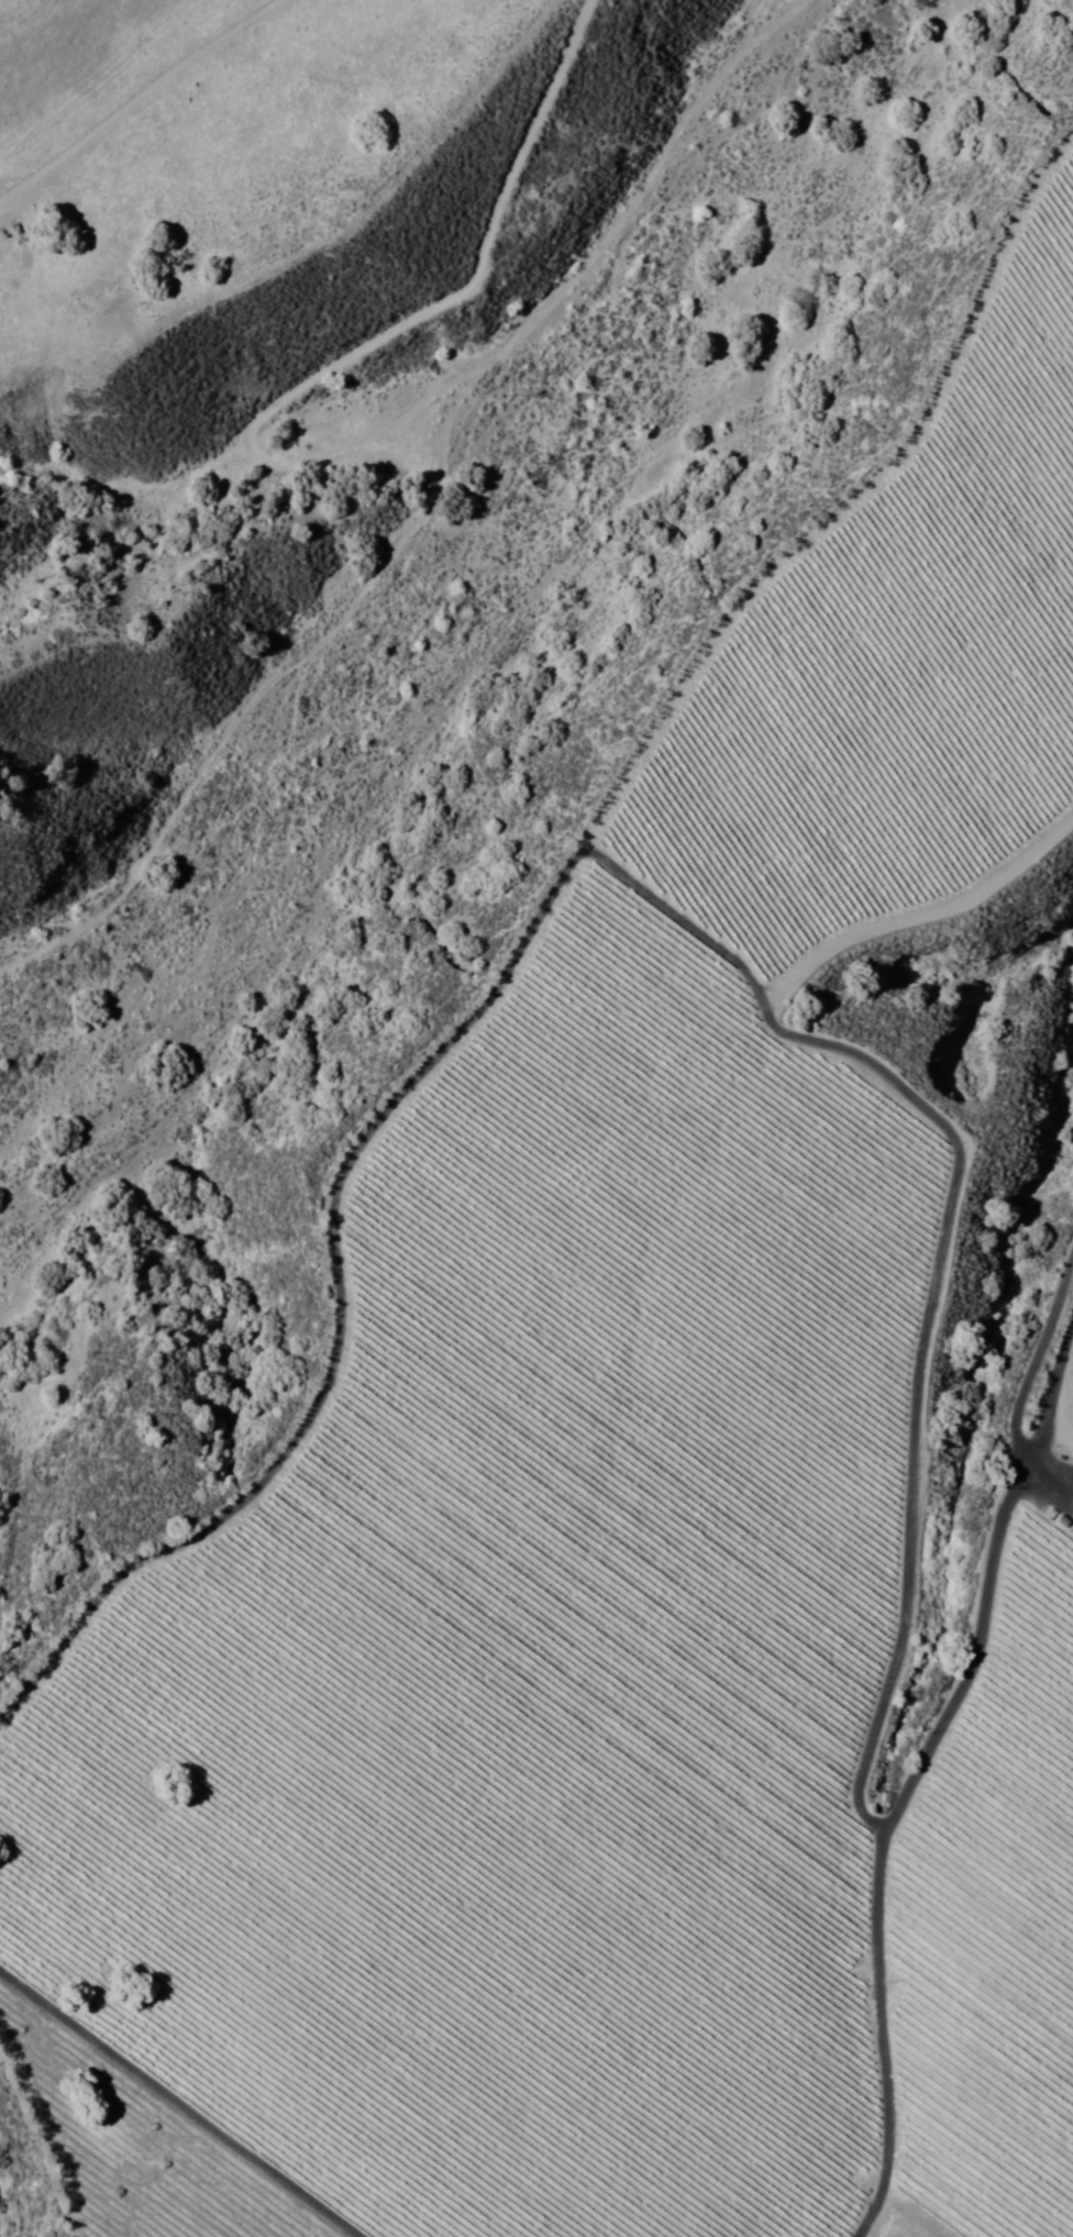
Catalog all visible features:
road: (108, 80)
road: (242, 1022)
crop: (1068, 1238)
crop: (619, 1519)

